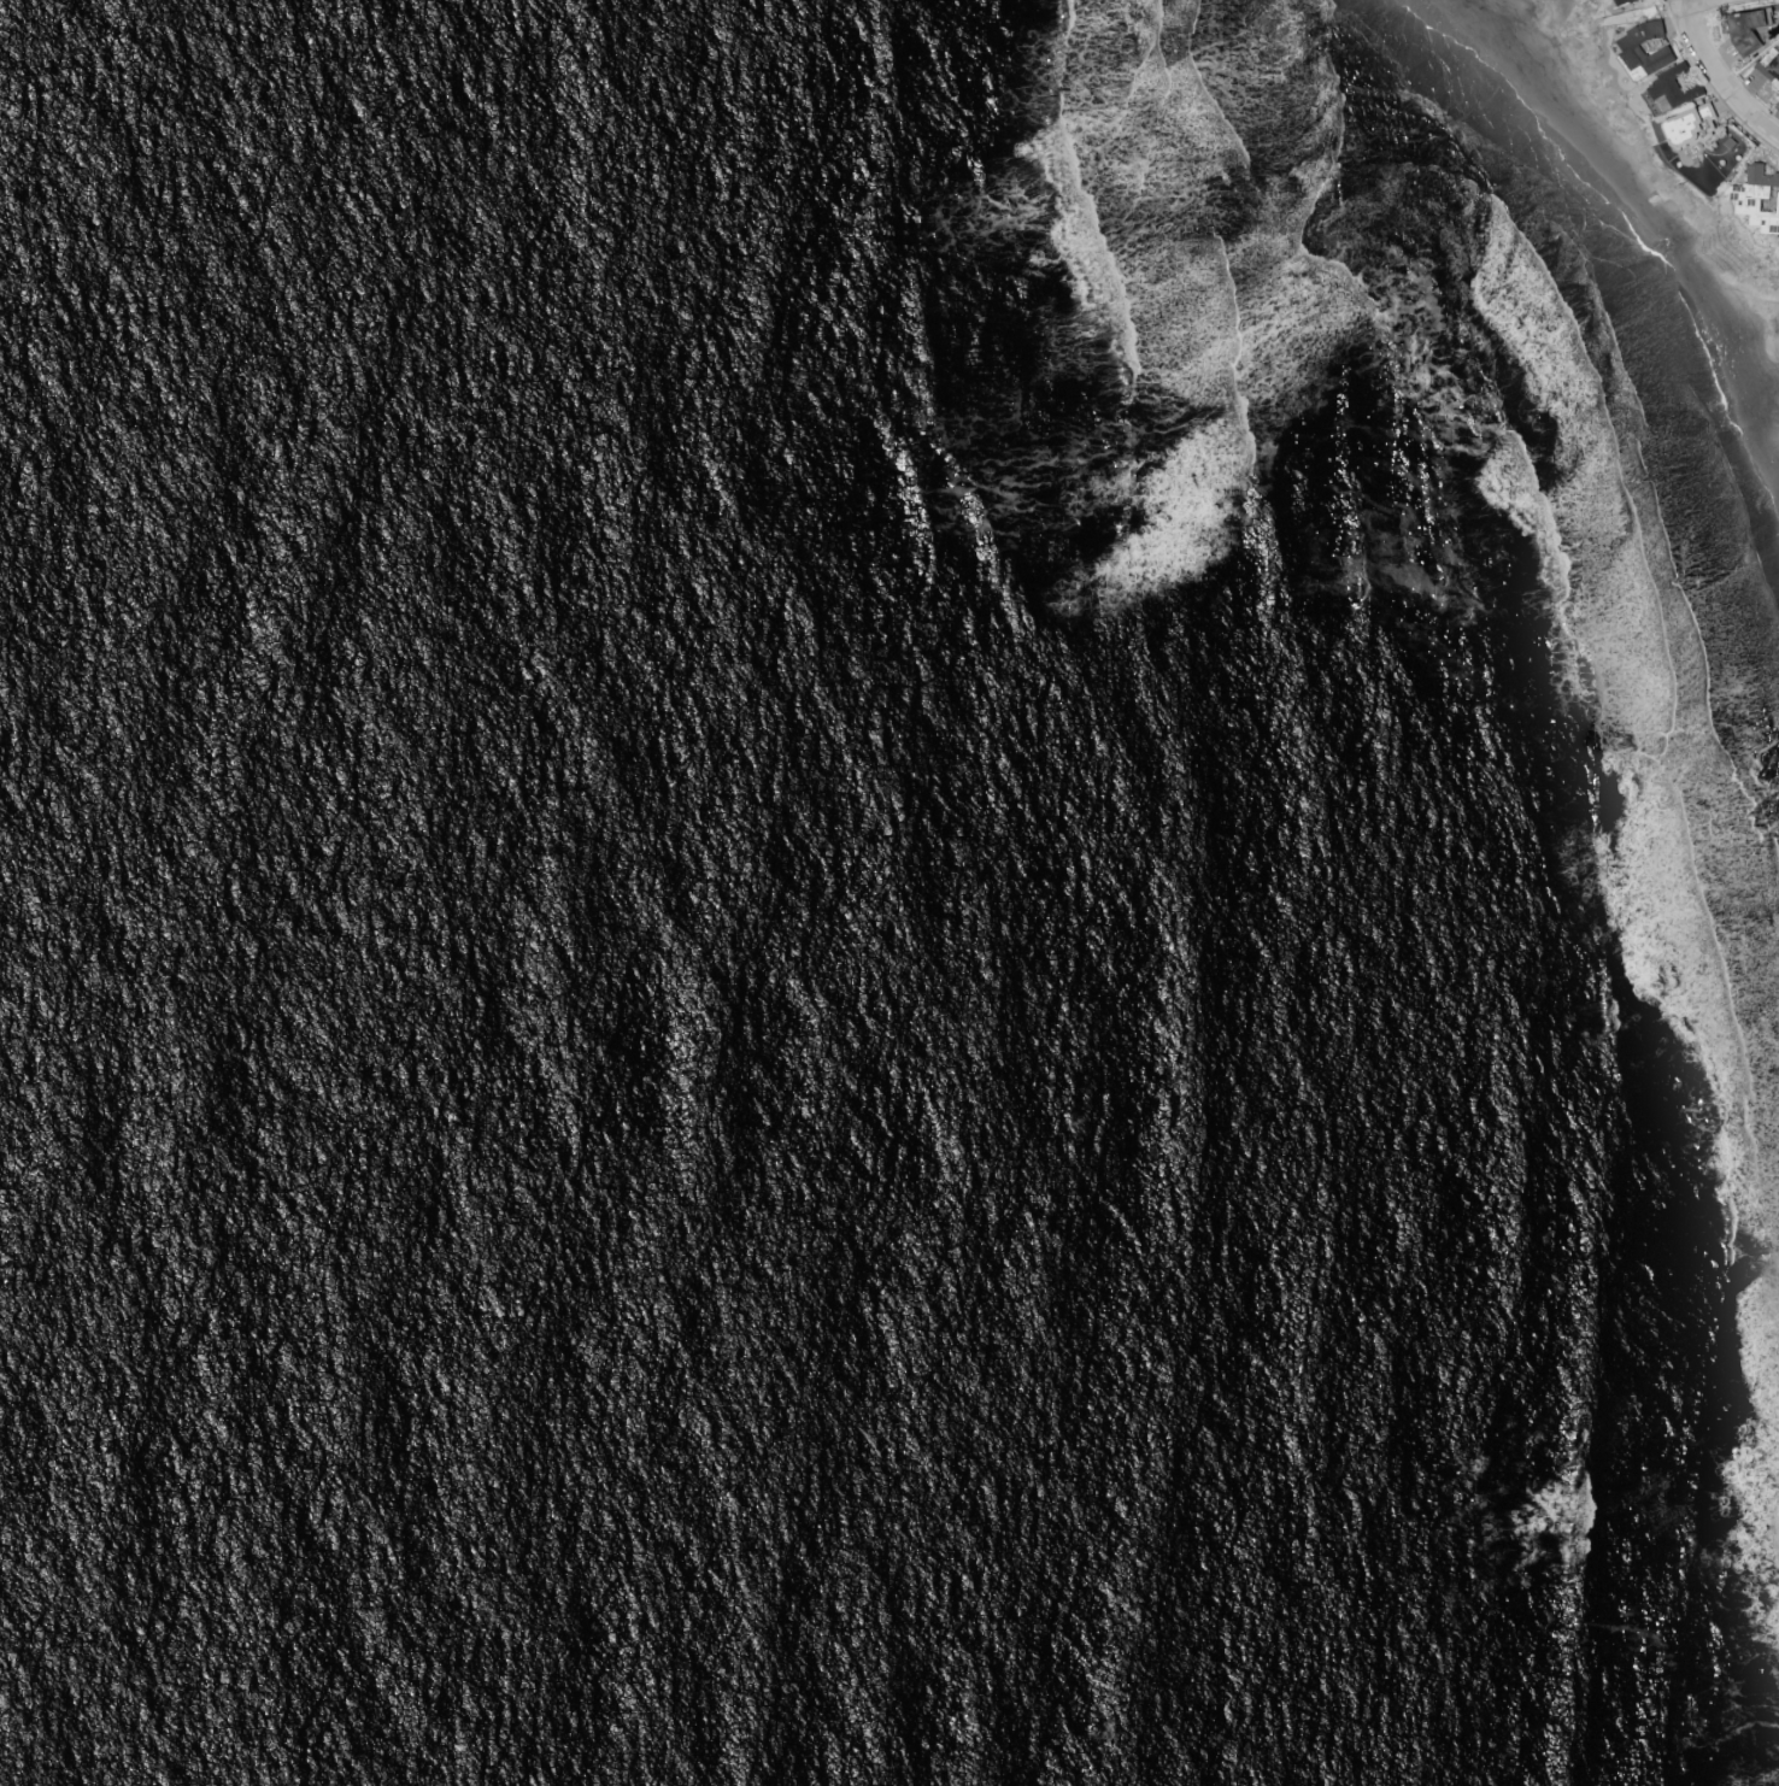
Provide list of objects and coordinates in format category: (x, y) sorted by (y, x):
road: (1681, 0)
road: (1686, 0)
building: (1621, 2)
building: (1751, 28)
building: (1655, 43)
building: (1631, 46)
building: (1771, 65)
road: (1722, 71)
building: (1673, 87)
building: (1691, 127)
building: (1761, 175)
building: (1738, 193)
building: (1778, 201)
building: (1765, 219)

